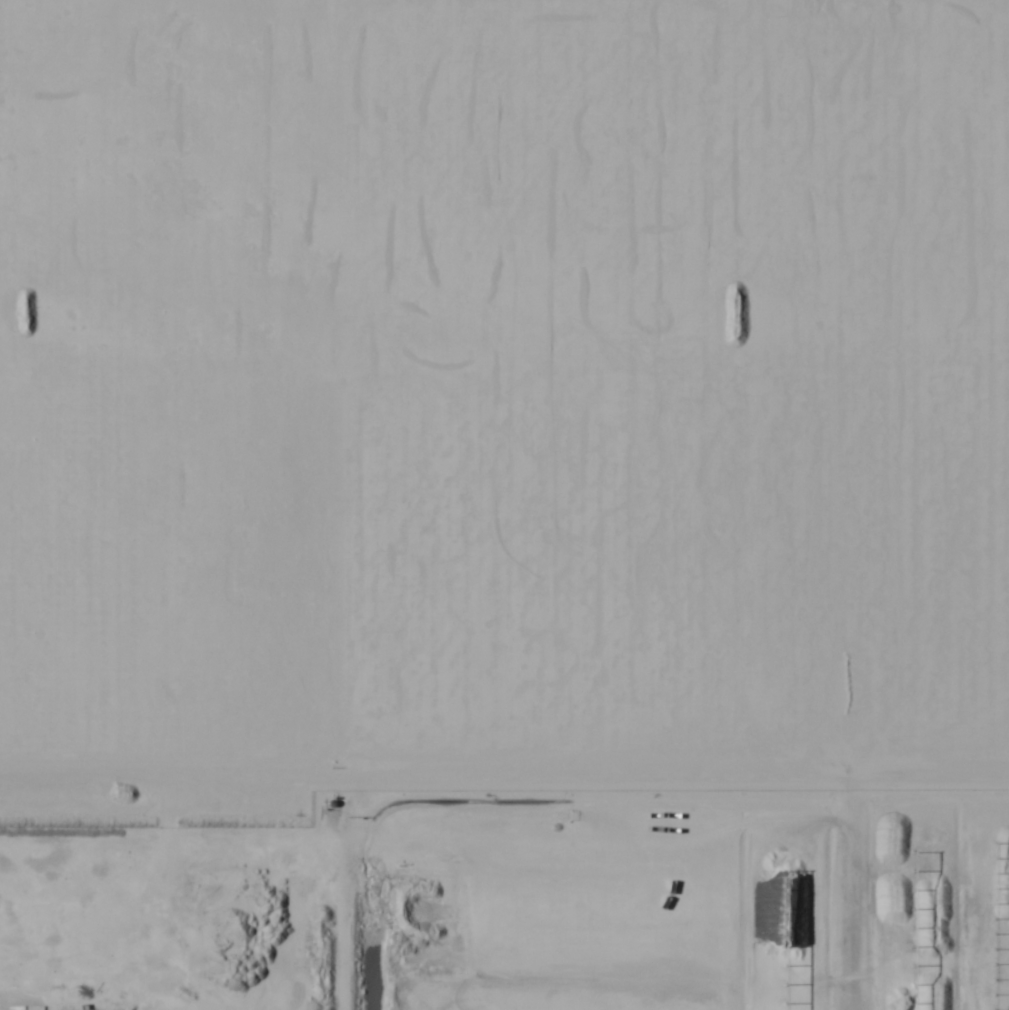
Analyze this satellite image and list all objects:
building: (882, 923)
building: (942, 991)

